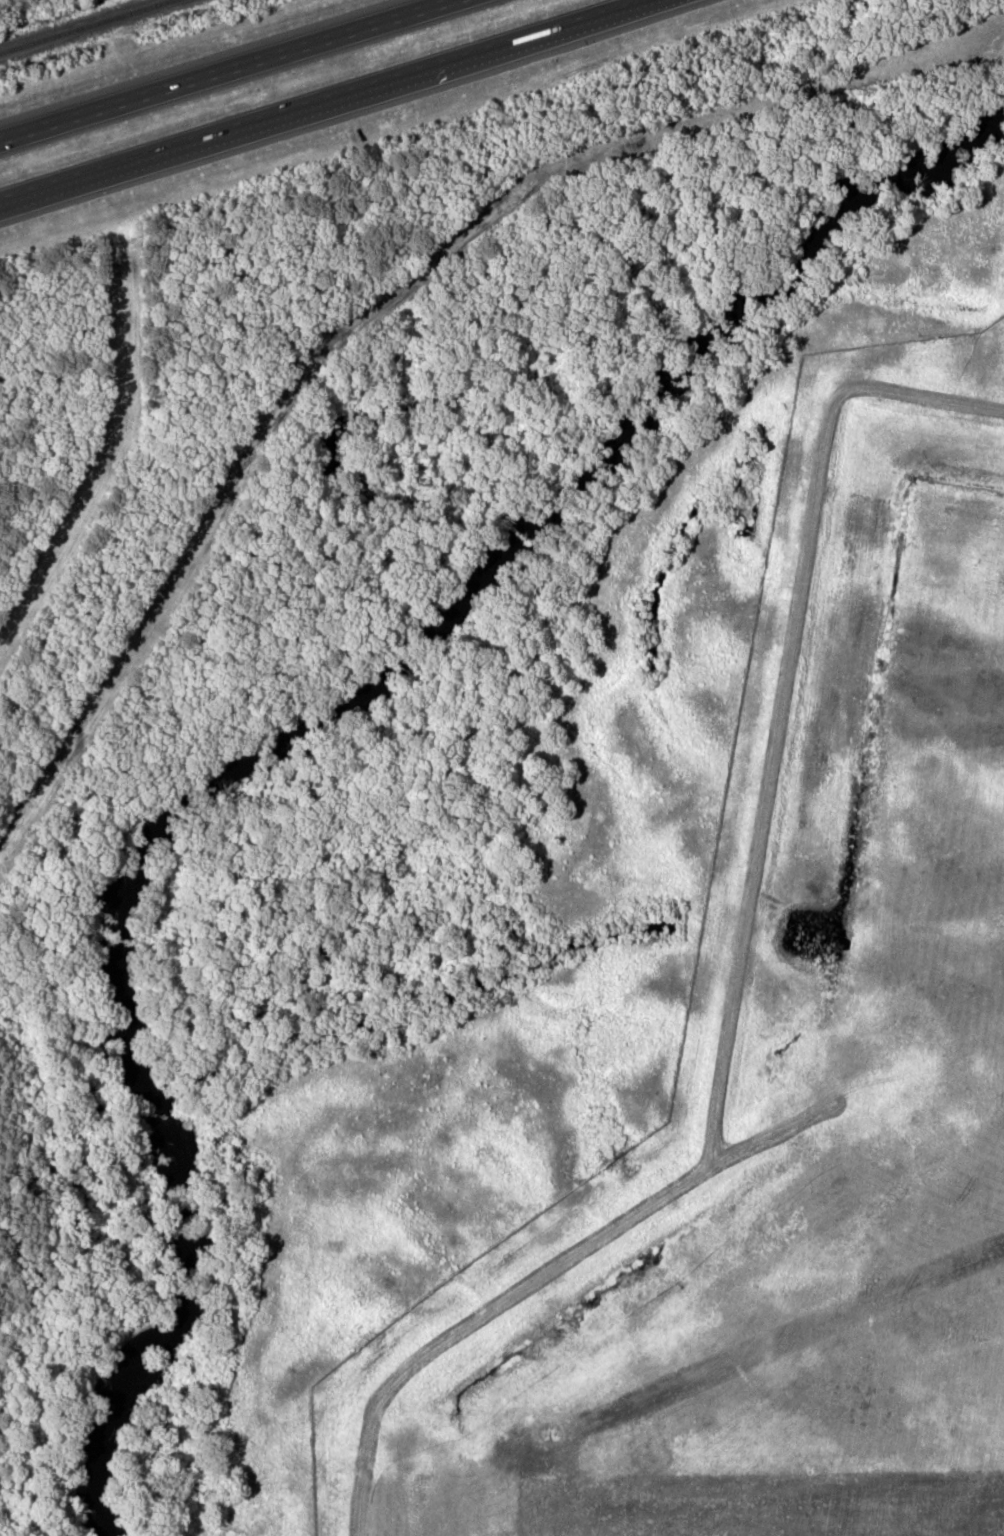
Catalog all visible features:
railway: (84, 26)
road: (557, 28)
road: (226, 70)
road: (232, 130)
river: (304, 735)
airport: (799, 1054)

